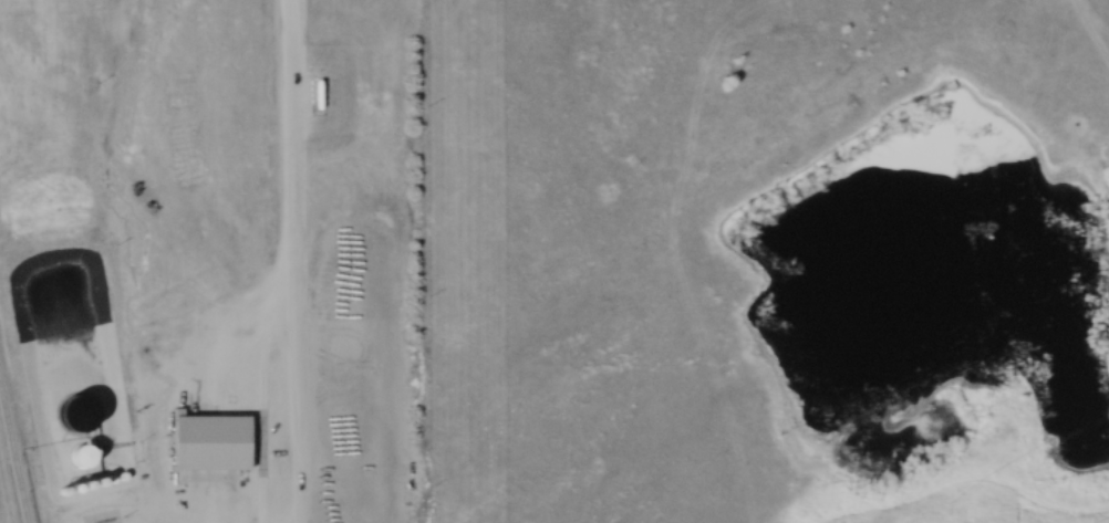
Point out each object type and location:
road: (288, 261)
building: (77, 414)
building: (209, 442)
building: (80, 454)
railway: (13, 457)

